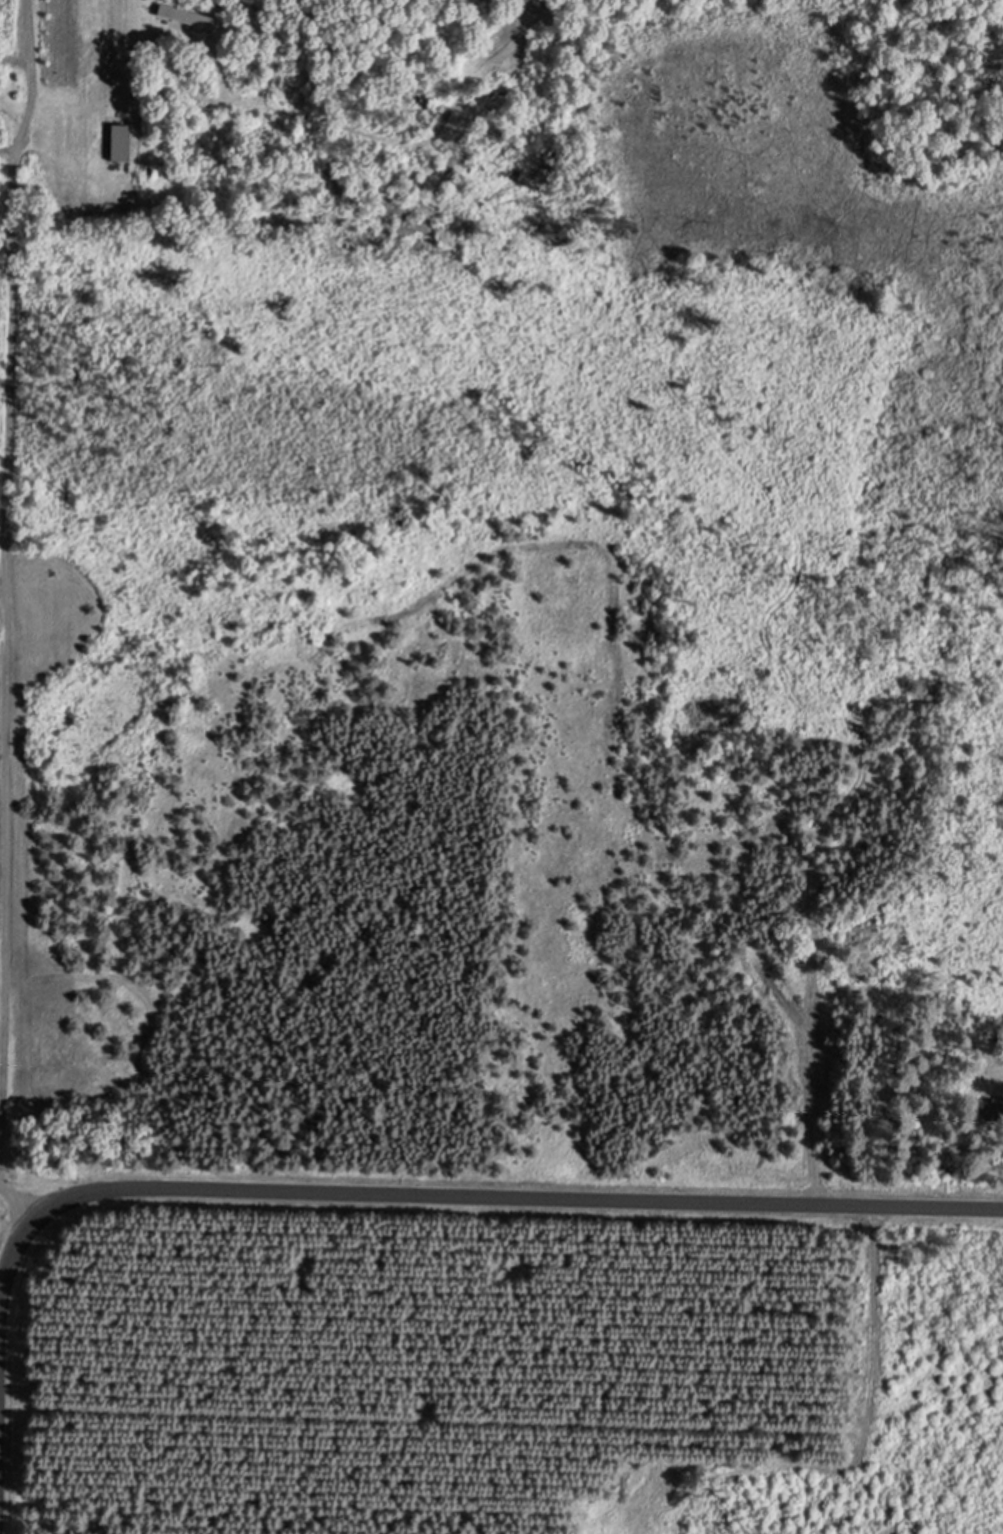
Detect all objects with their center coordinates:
building: (188, 16)
building: (124, 143)
road: (6, 566)
road: (472, 1194)
road: (19, 1197)

